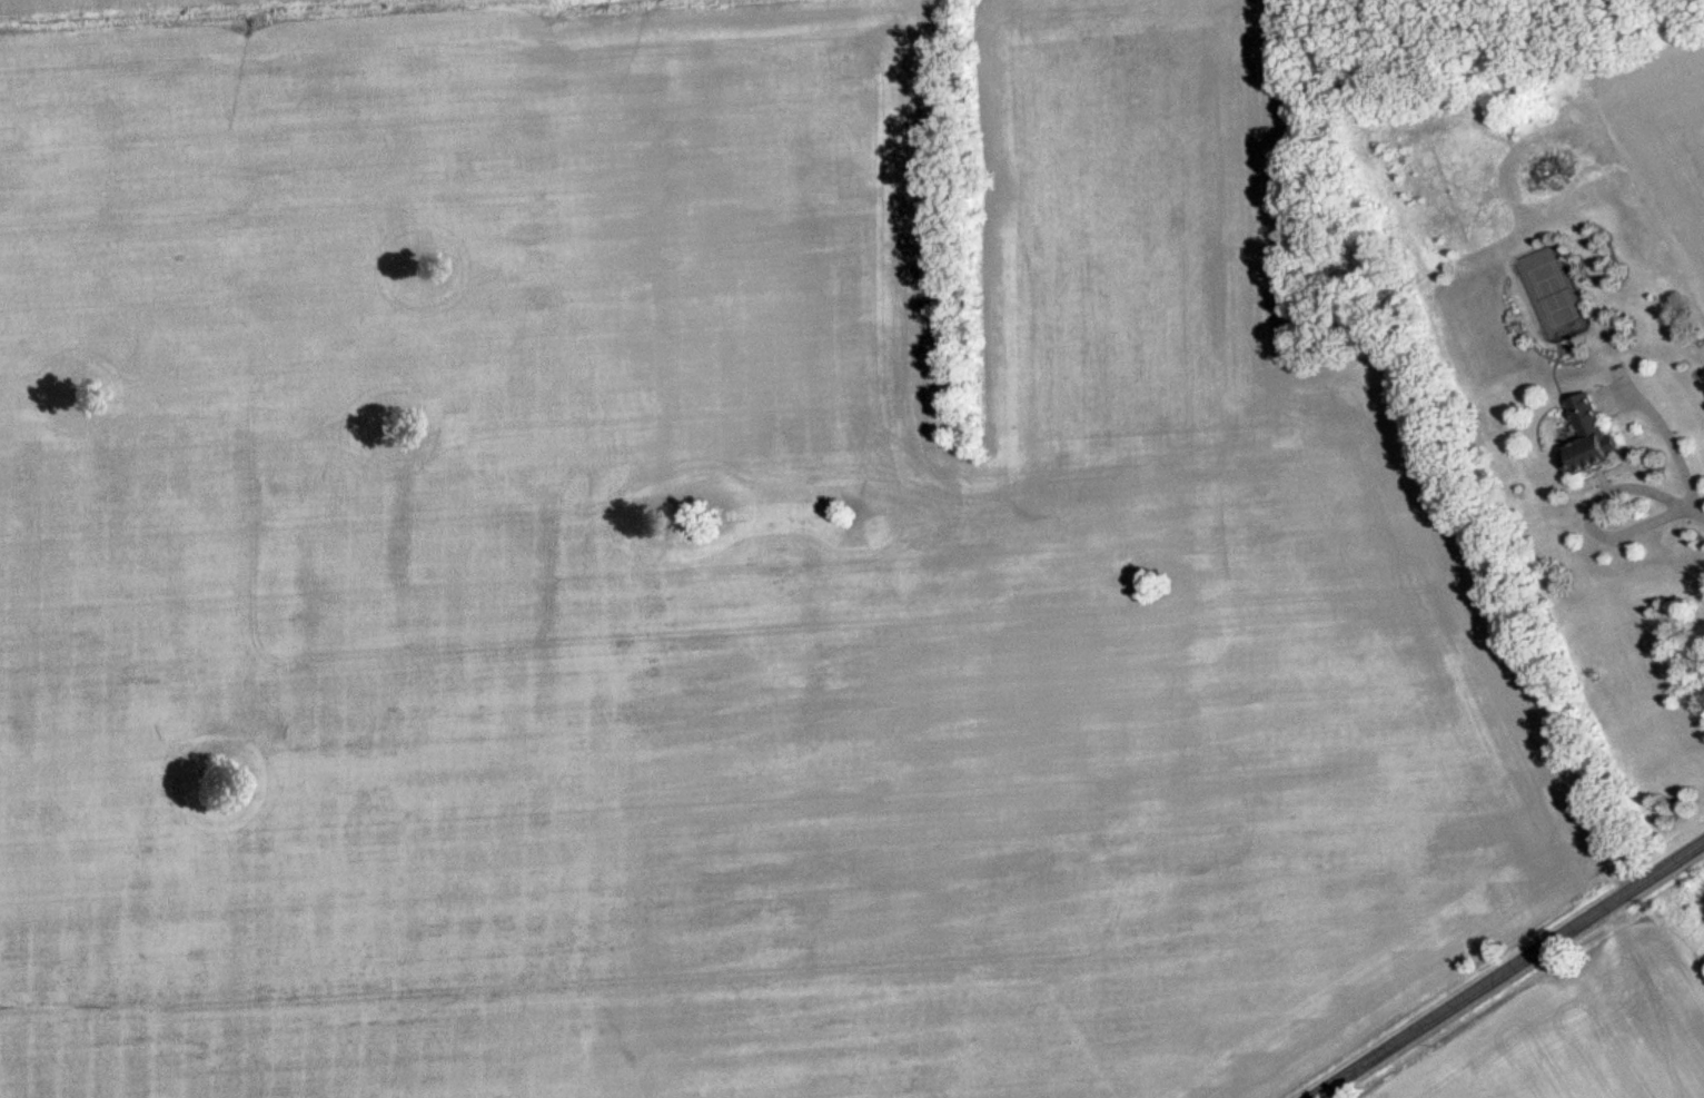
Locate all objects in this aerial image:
building: (1589, 432)
road: (1658, 498)
road: (1505, 968)

